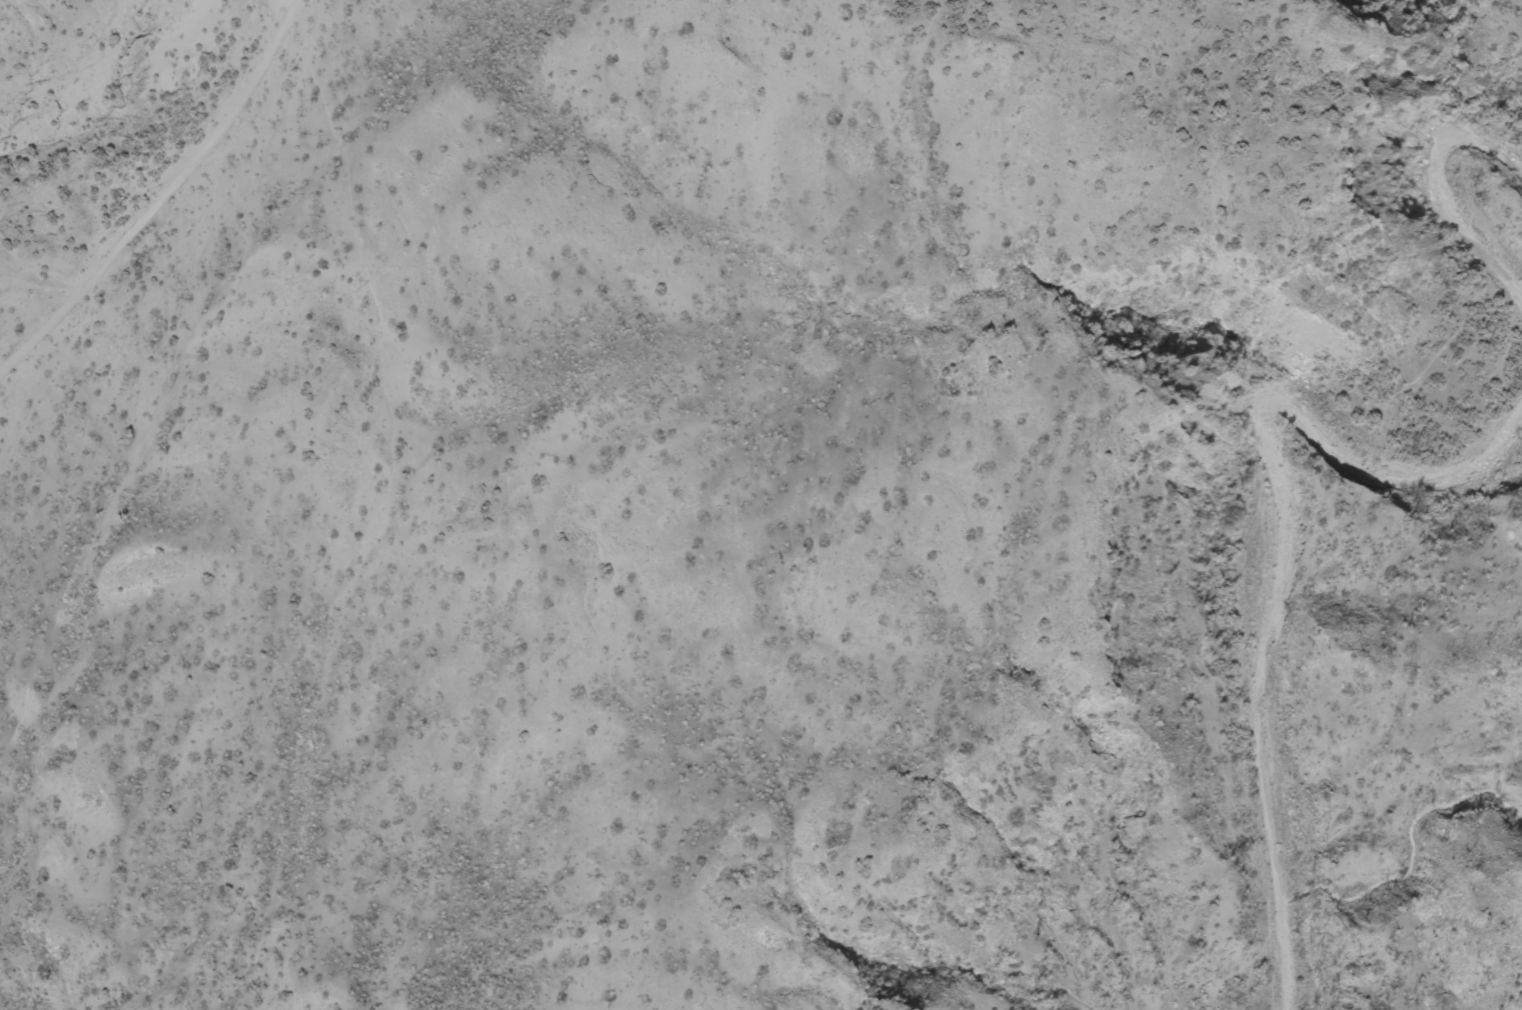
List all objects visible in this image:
road: (243, 321)

